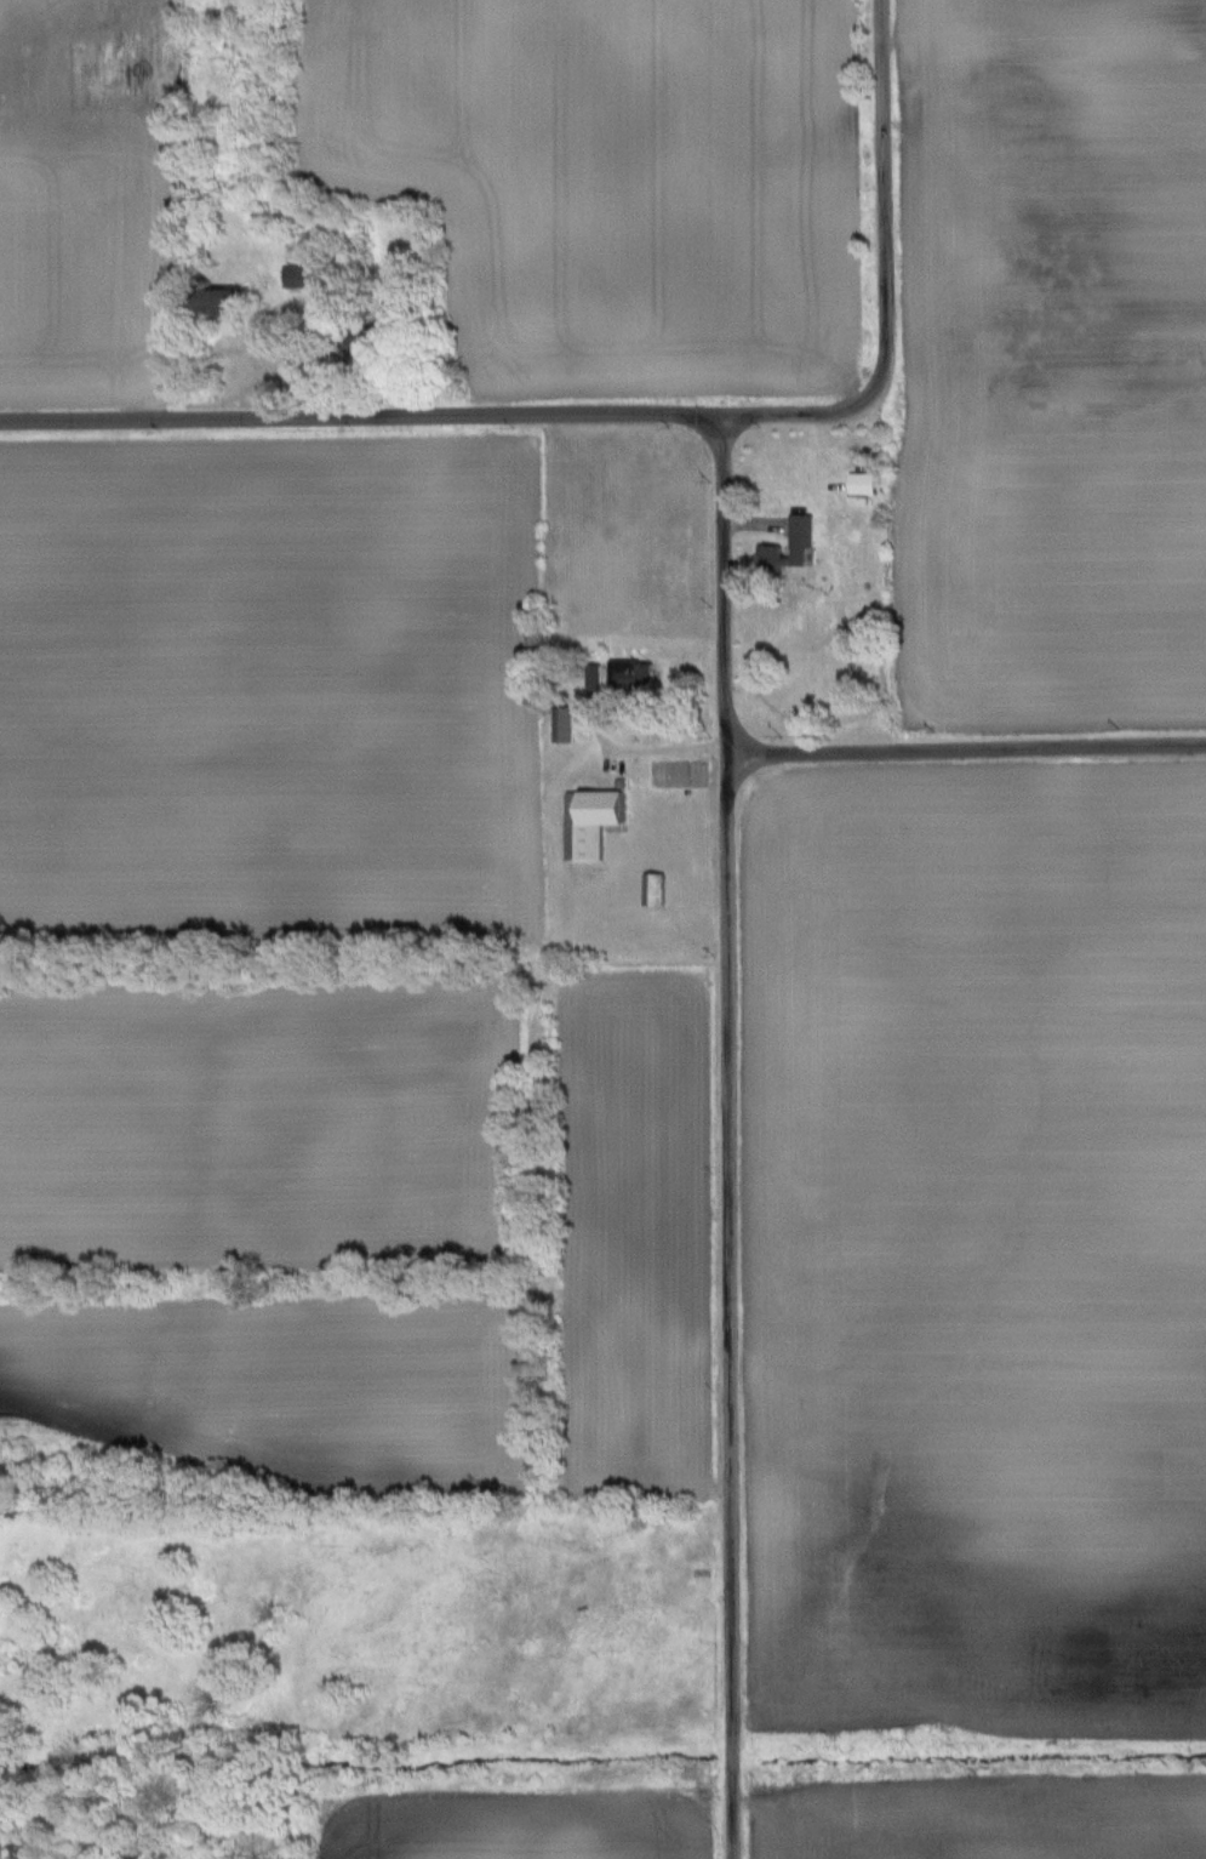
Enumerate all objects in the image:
road: (890, 276)
building: (299, 278)
building: (219, 306)
road: (361, 418)
building: (801, 531)
building: (634, 673)
building: (564, 724)
road: (966, 751)
building: (593, 821)
building: (655, 889)
road: (730, 1137)

